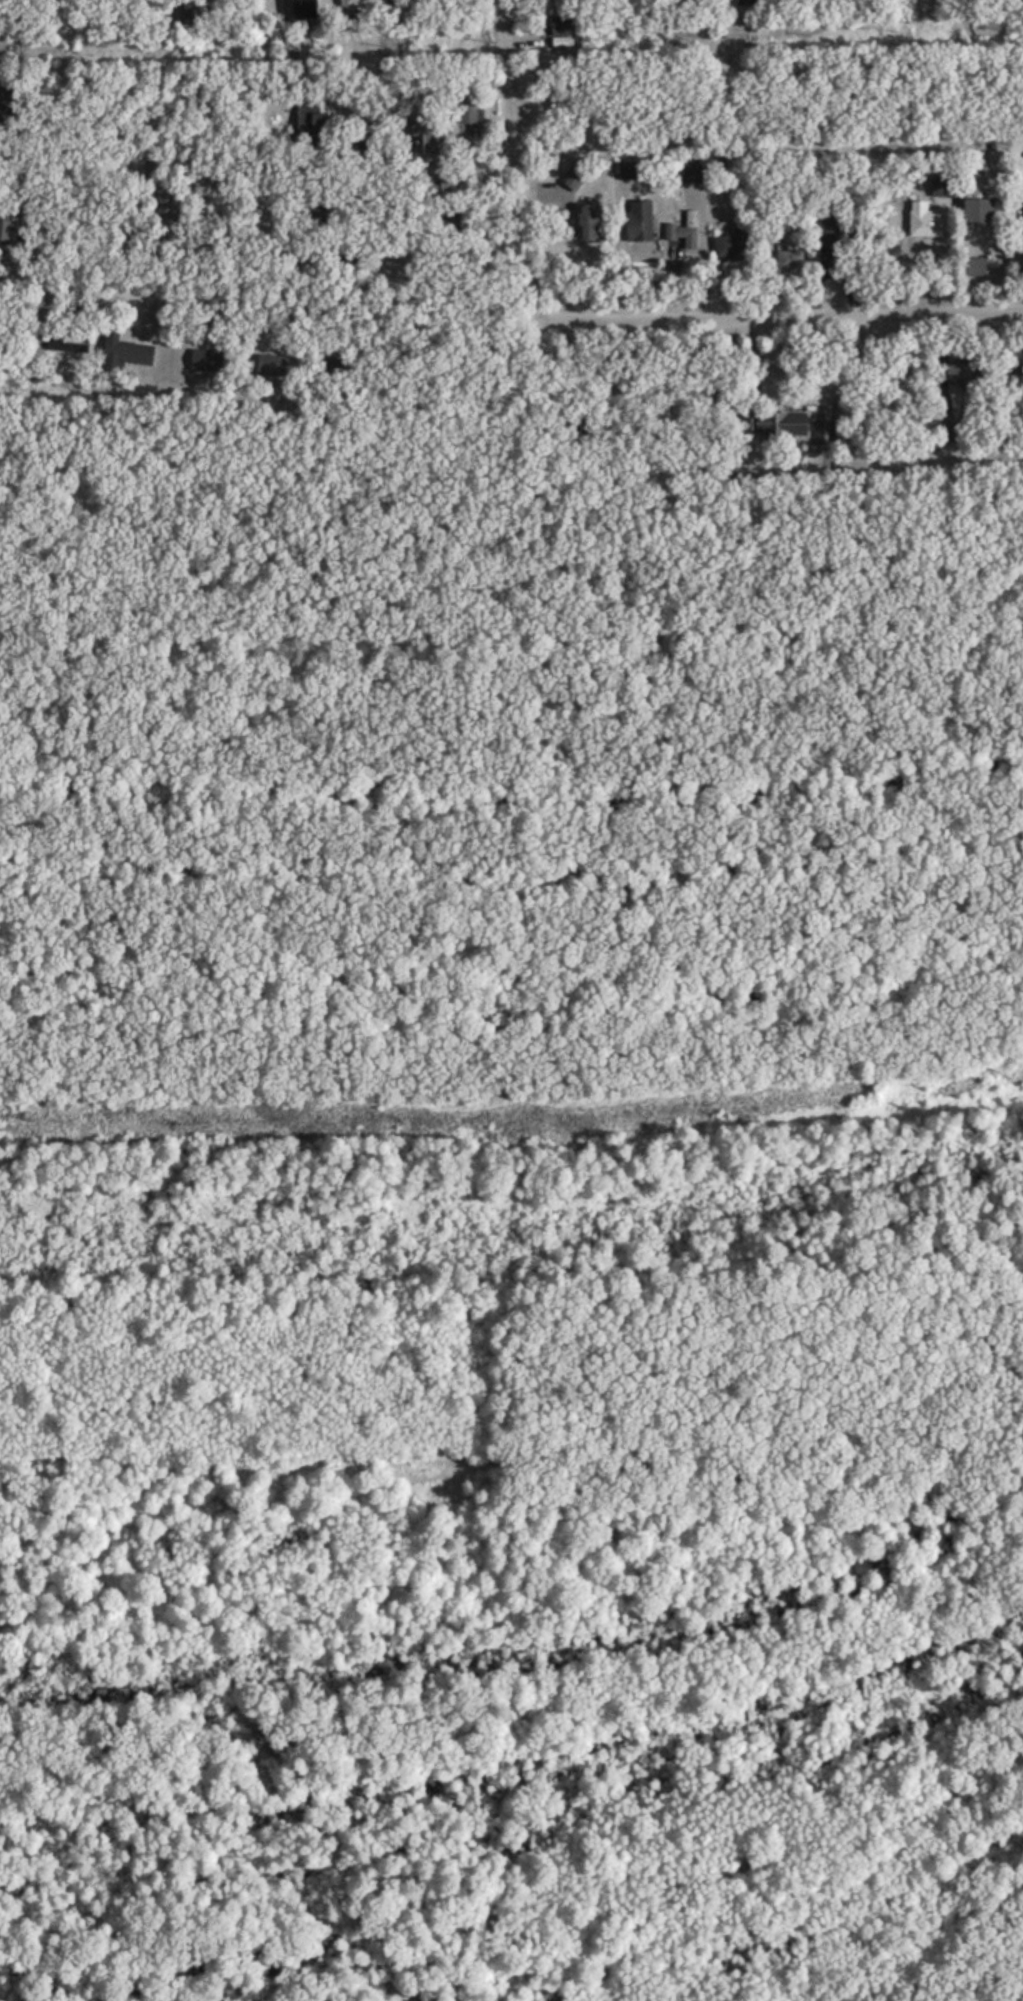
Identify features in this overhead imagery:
building: (745, 3)
building: (362, 4)
building: (300, 9)
building: (559, 26)
building: (4, 104)
road: (278, 111)
building: (466, 113)
building: (317, 125)
road: (756, 164)
building: (1022, 164)
building: (628, 172)
building: (693, 172)
building: (572, 180)
building: (448, 188)
building: (976, 211)
building: (638, 221)
building: (923, 221)
building: (585, 223)
road: (543, 228)
building: (682, 230)
building: (828, 232)
building: (731, 246)
building: (782, 254)
building: (974, 268)
road: (273, 282)
road: (791, 301)
building: (124, 353)
building: (205, 363)
building: (268, 365)
building: (960, 375)
building: (784, 426)
building: (949, 429)
building: (822, 435)
road: (524, 844)
road: (1011, 1993)

